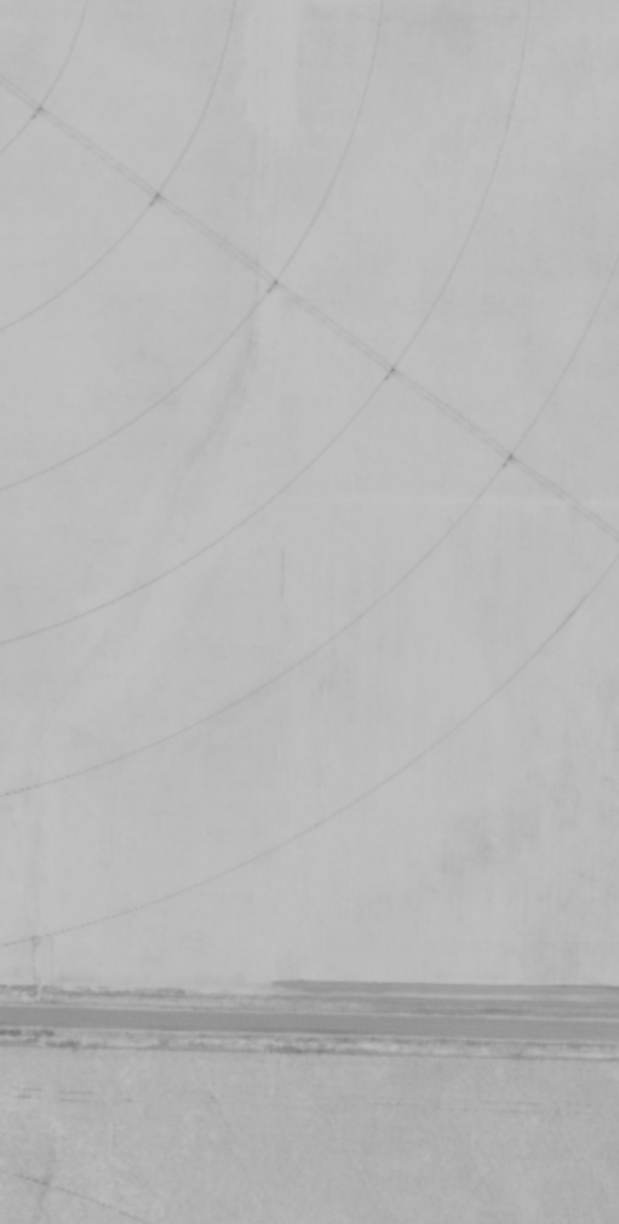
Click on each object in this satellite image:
road: (309, 1029)

